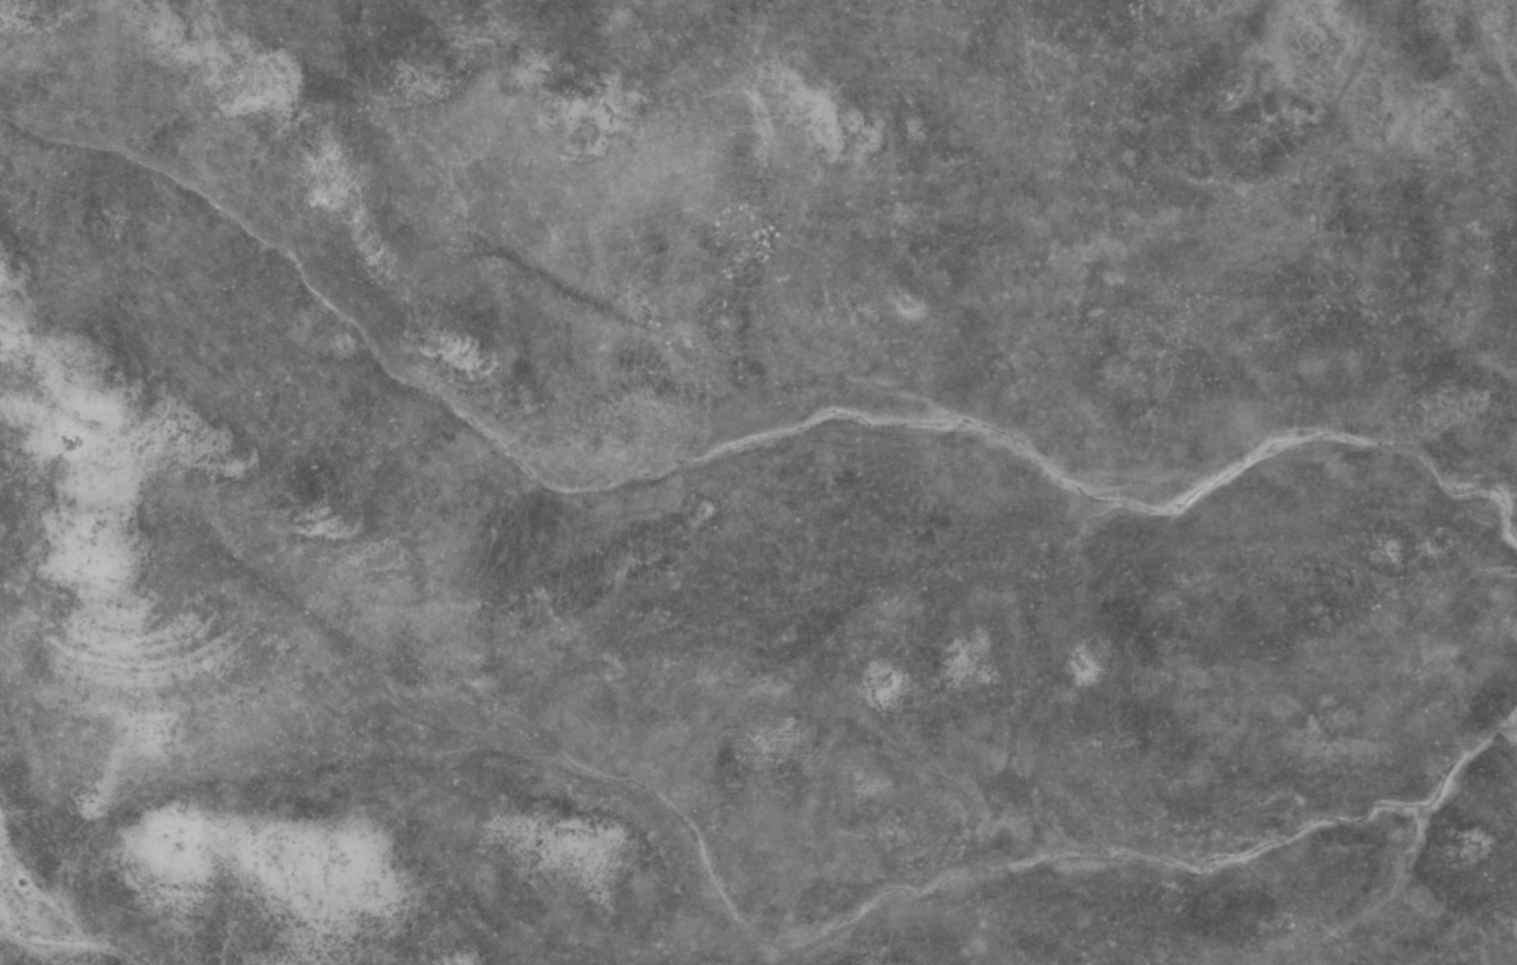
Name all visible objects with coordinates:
solar farm: (758, 482)

